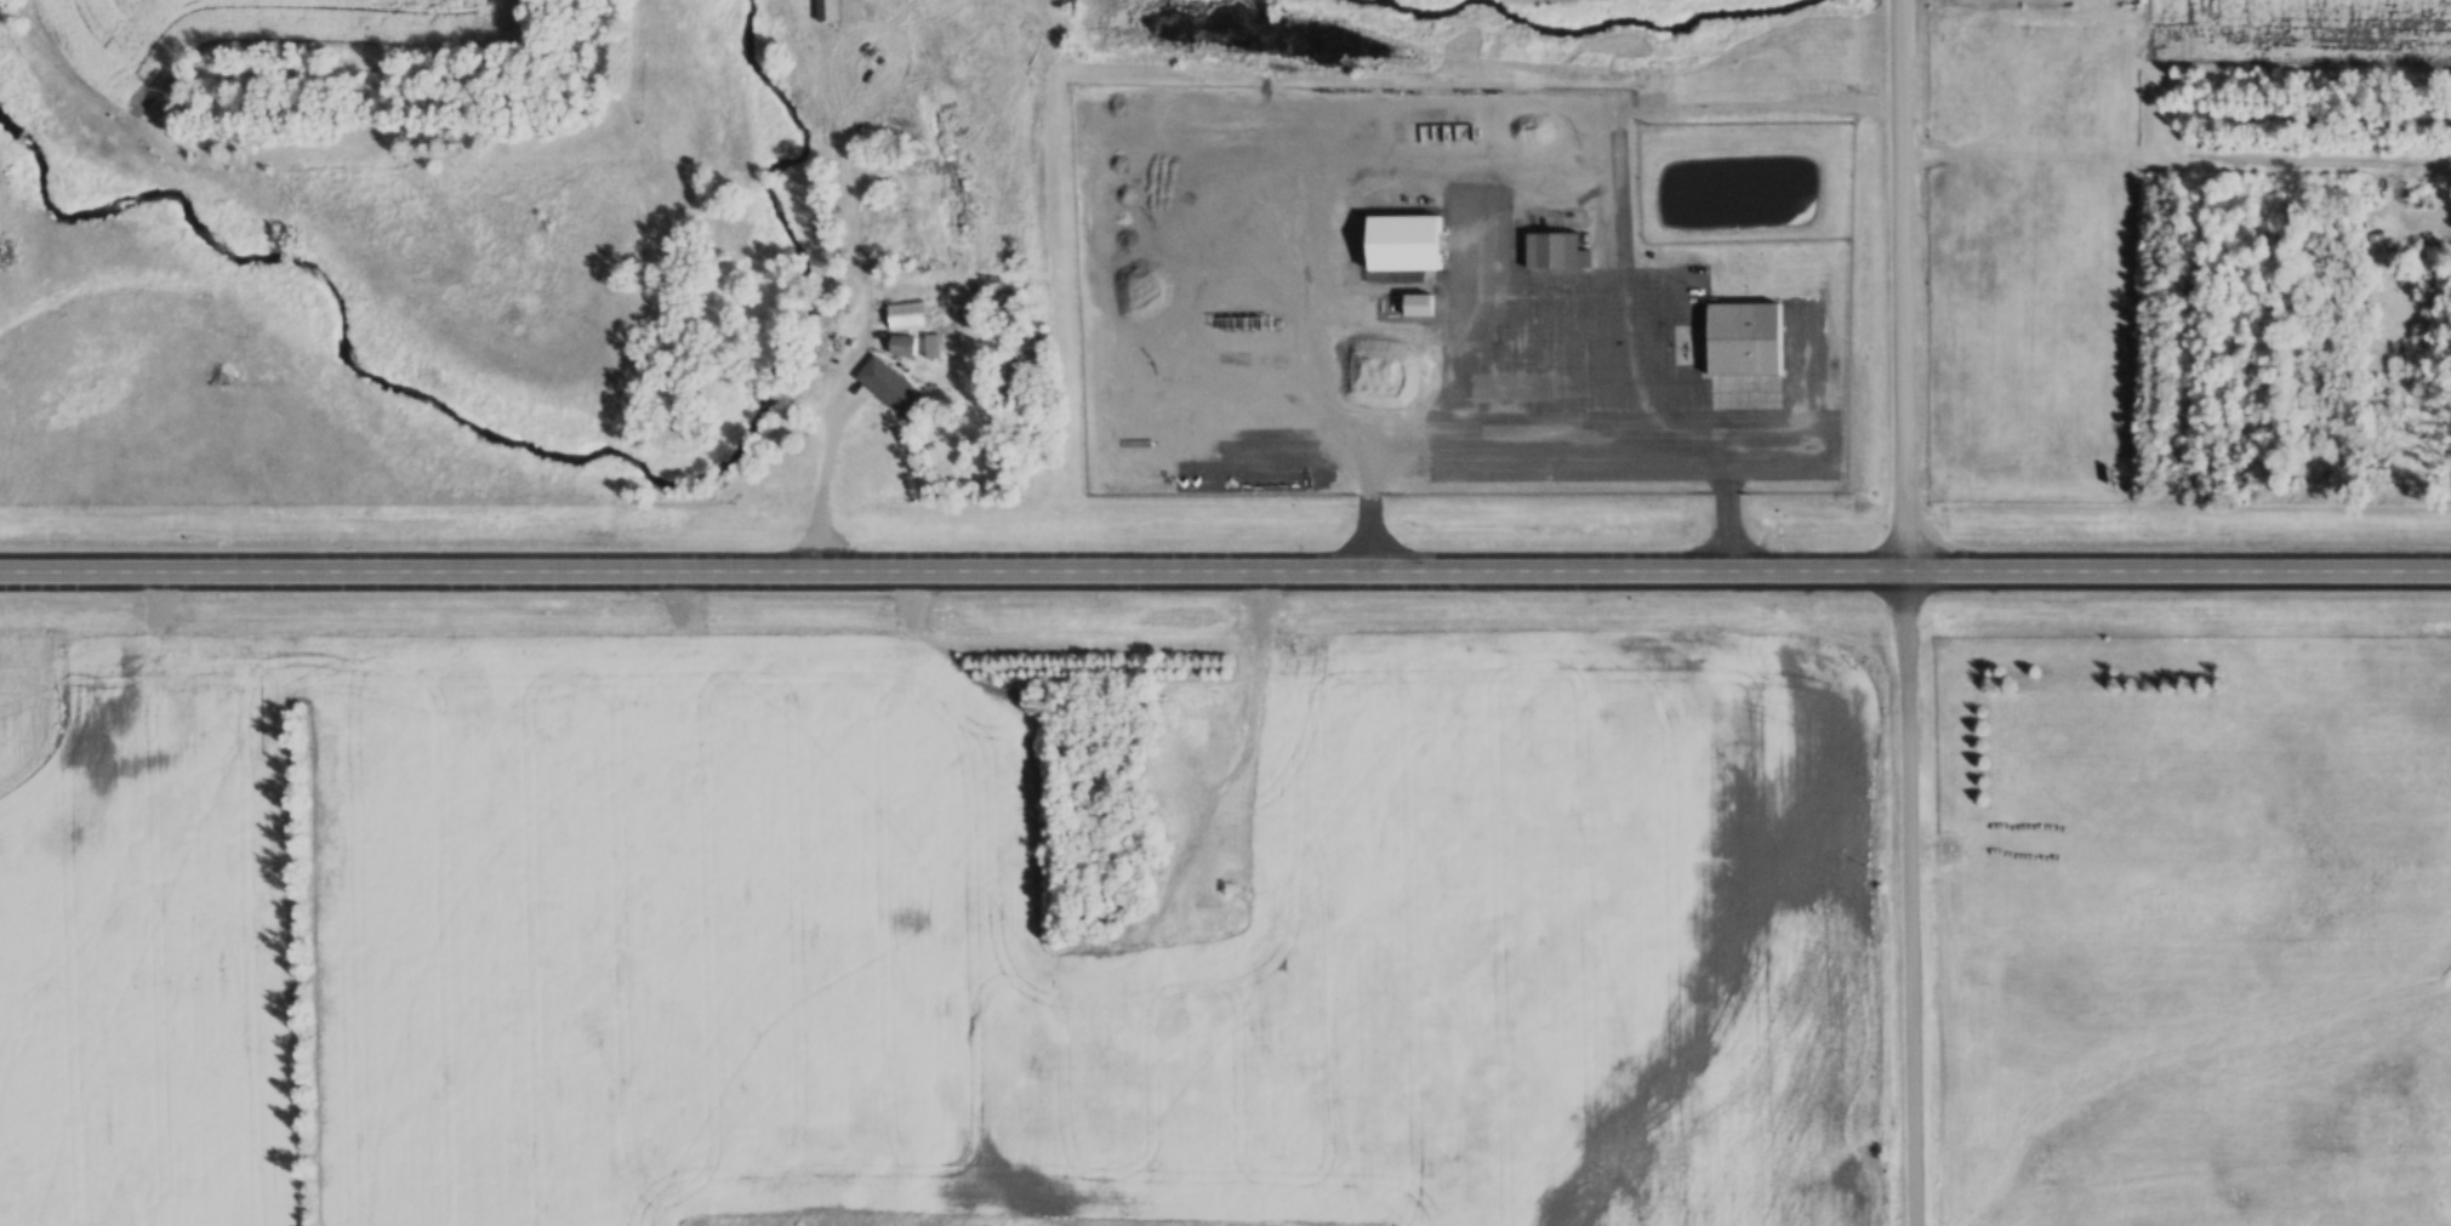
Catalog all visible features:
building: (825, 10)
river: (1573, 29)
building: (1480, 132)
building: (1467, 234)
building: (1551, 251)
building: (1002, 308)
building: (1740, 340)
building: (929, 346)
building: (888, 387)
river: (538, 466)
road: (1225, 580)
road: (1903, 612)

